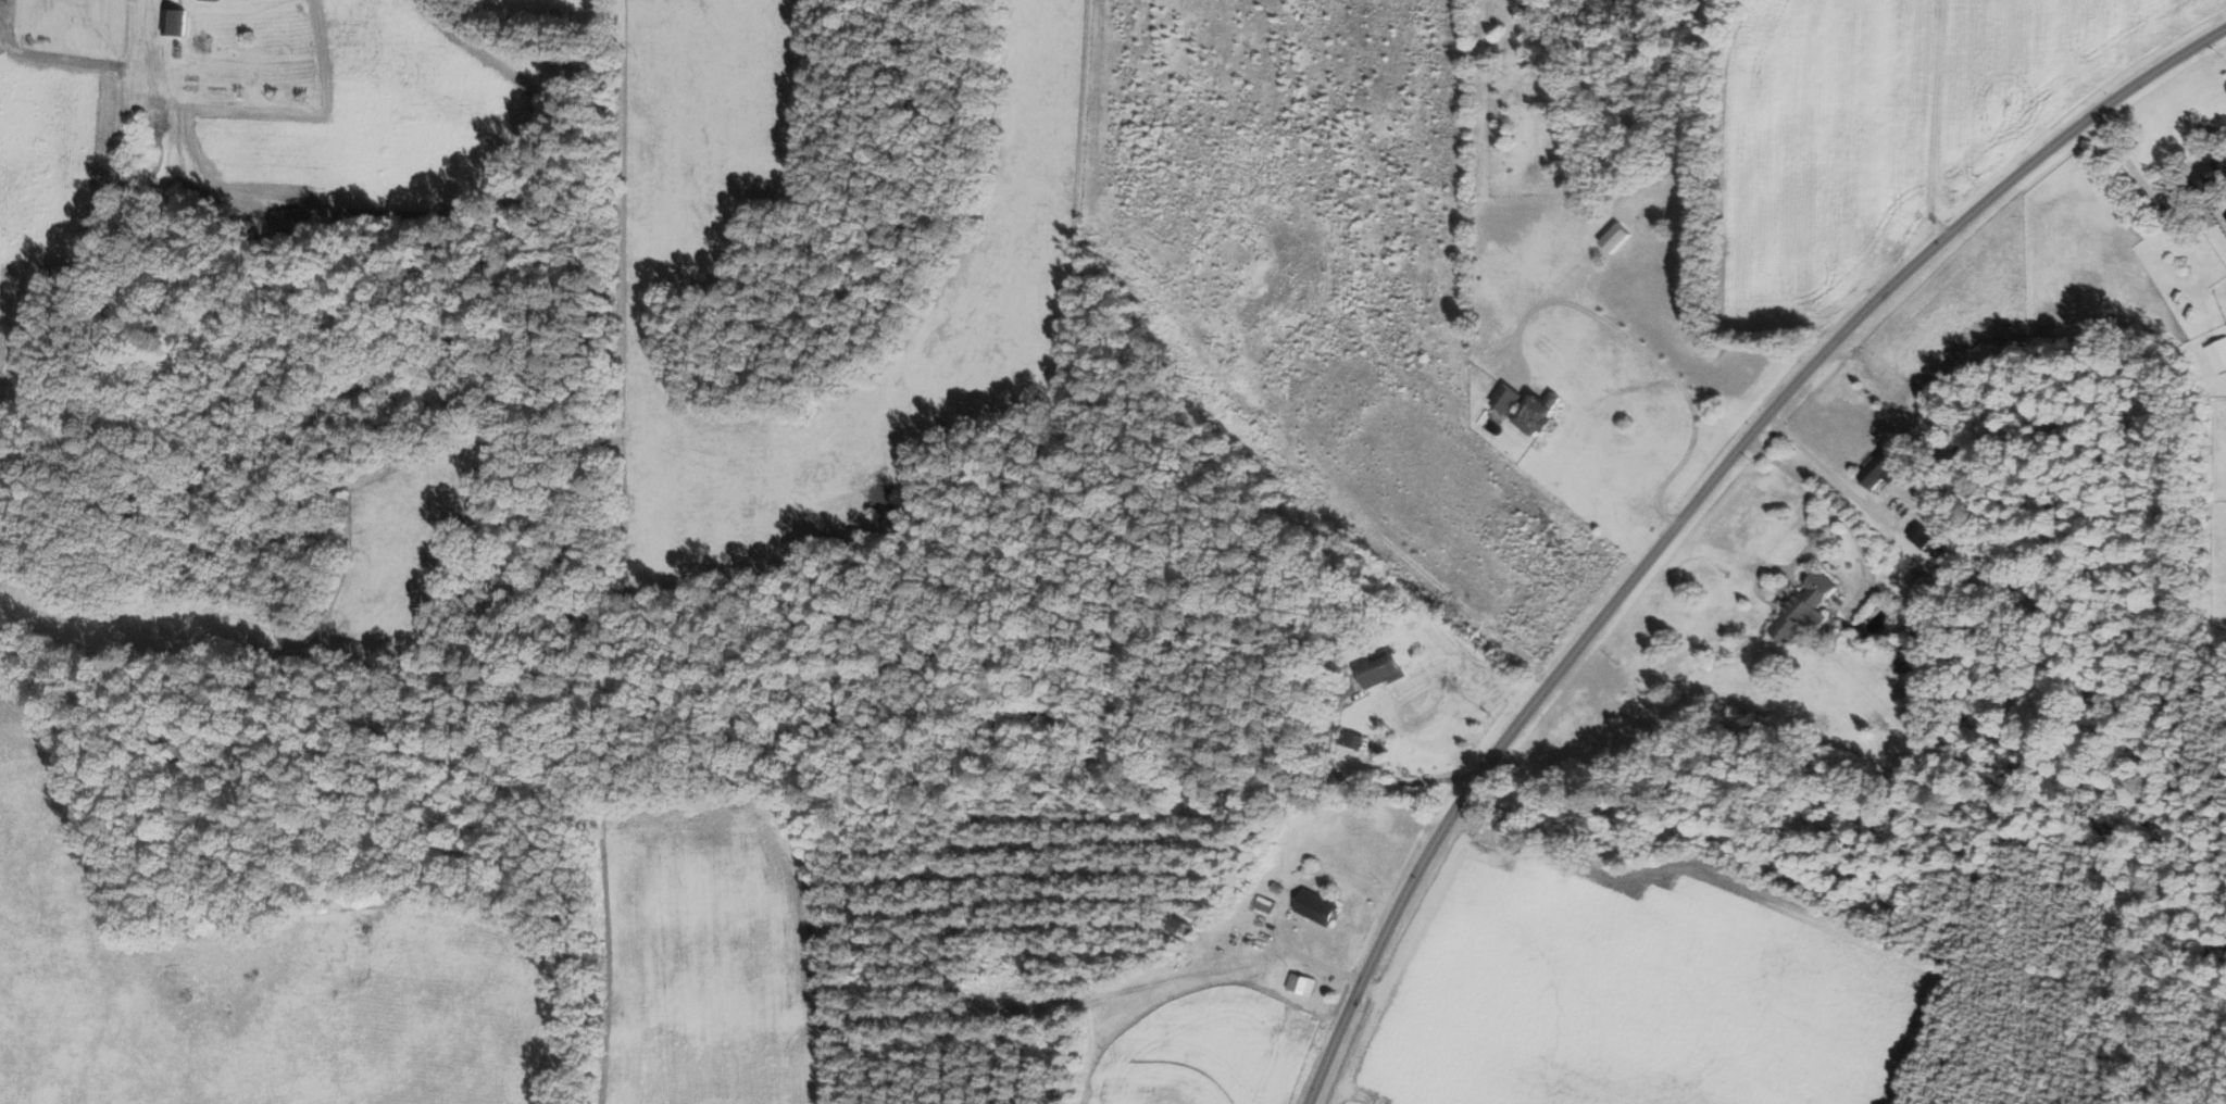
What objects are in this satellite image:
building: (176, 21)
crop: (2039, 74)
road: (1934, 118)
crop: (1821, 155)
road: (2128, 164)
building: (2203, 175)
building: (290, 222)
building: (1614, 237)
building: (1979, 350)
building: (2217, 354)
road: (1652, 357)
road: (1246, 375)
building: (1489, 385)
building: (1527, 407)
building: (1879, 468)
road: (1830, 472)
road: (1828, 502)
road: (1693, 504)
building: (1919, 536)
building: (1944, 559)
road: (1866, 567)
building: (1802, 607)
building: (1887, 635)
building: (1381, 670)
building: (1348, 738)
road: (1361, 783)
building: (1310, 868)
building: (1275, 887)
building: (1262, 904)
building: (1315, 906)
building: (1177, 926)
crop: (715, 953)
road: (1296, 953)
building: (1299, 983)
crop: (1633, 993)
road: (1059, 1002)
crop: (1204, 1045)

